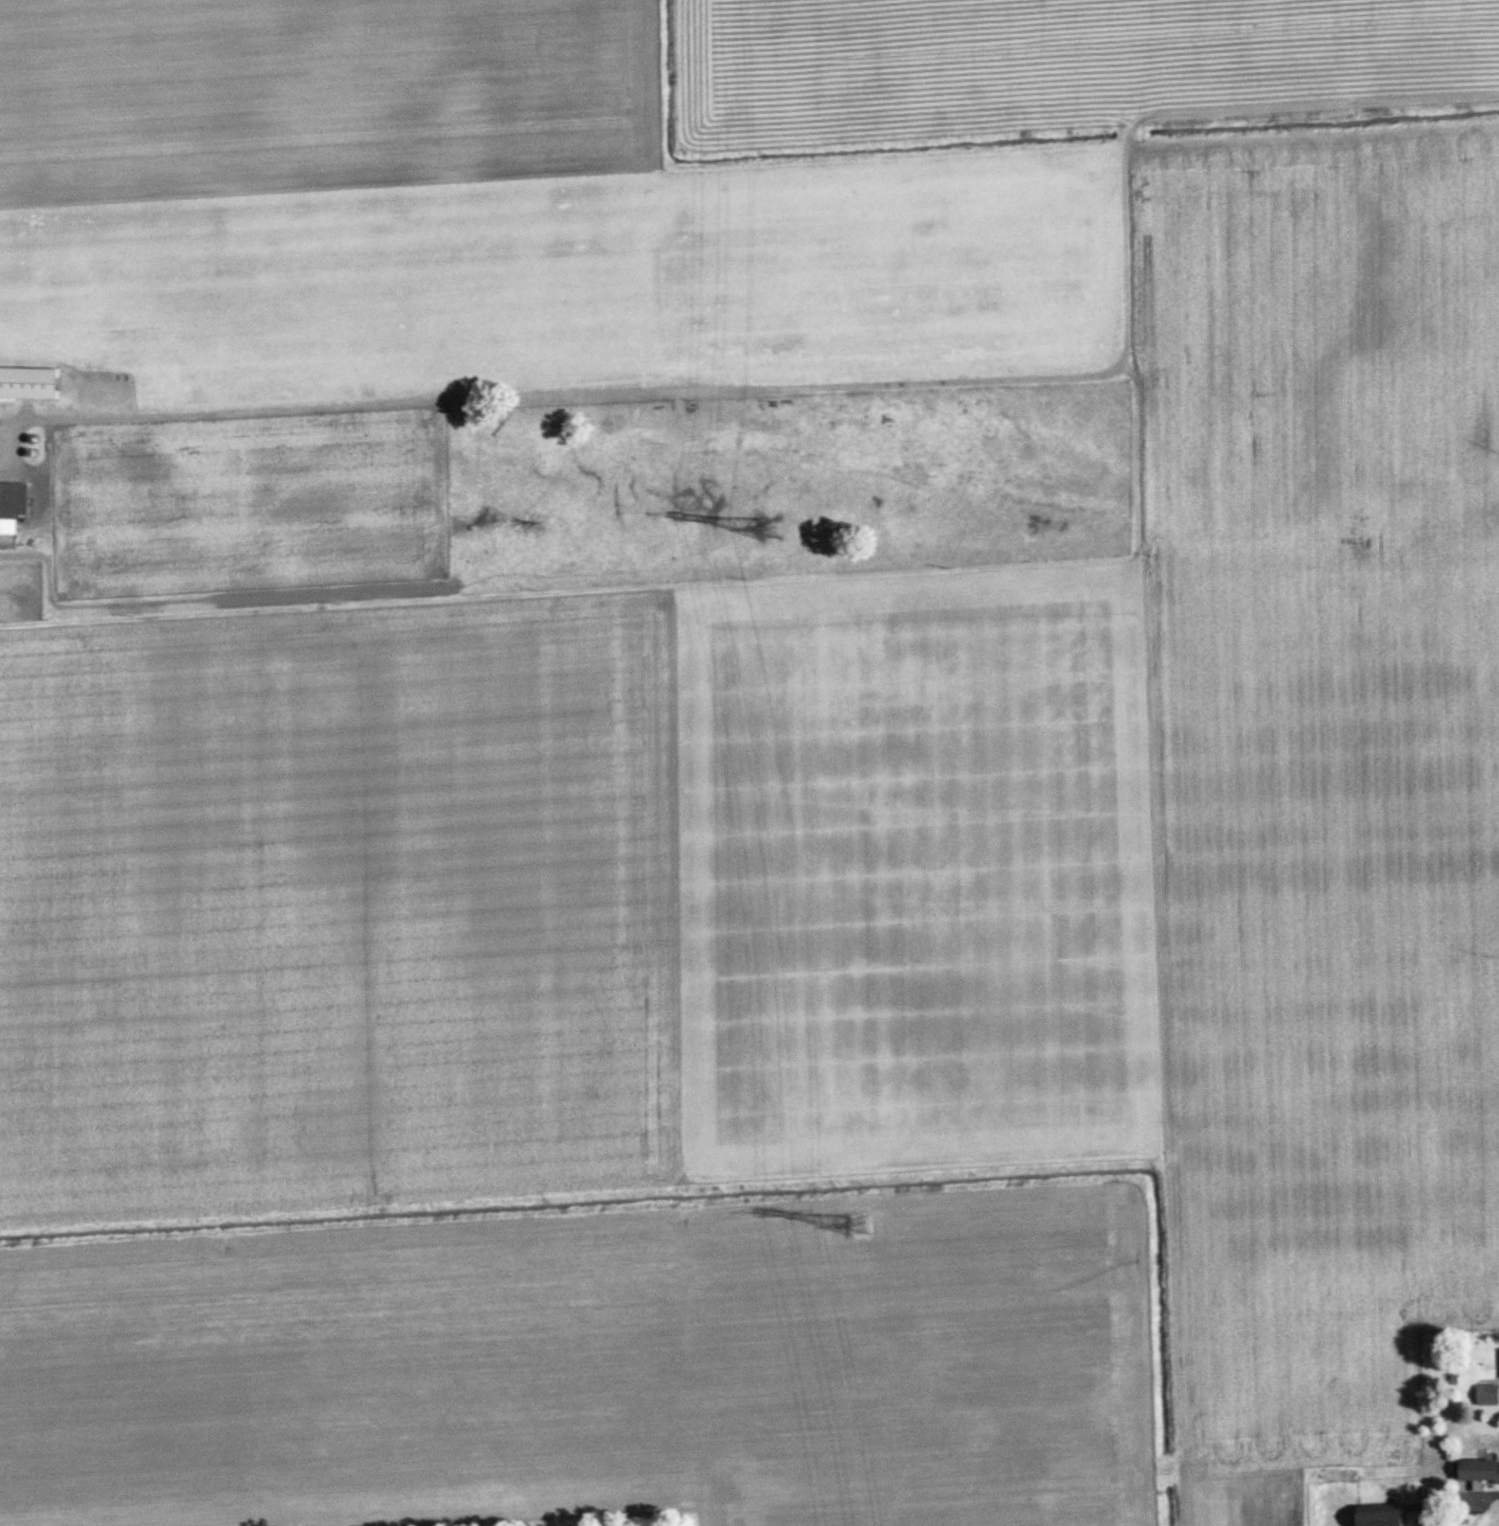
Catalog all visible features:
building: (32, 381)
power tower: (771, 528)
power tower: (860, 1225)
building: (1488, 1394)
building: (1483, 1470)
road: (1475, 1492)
building: (1393, 1515)

